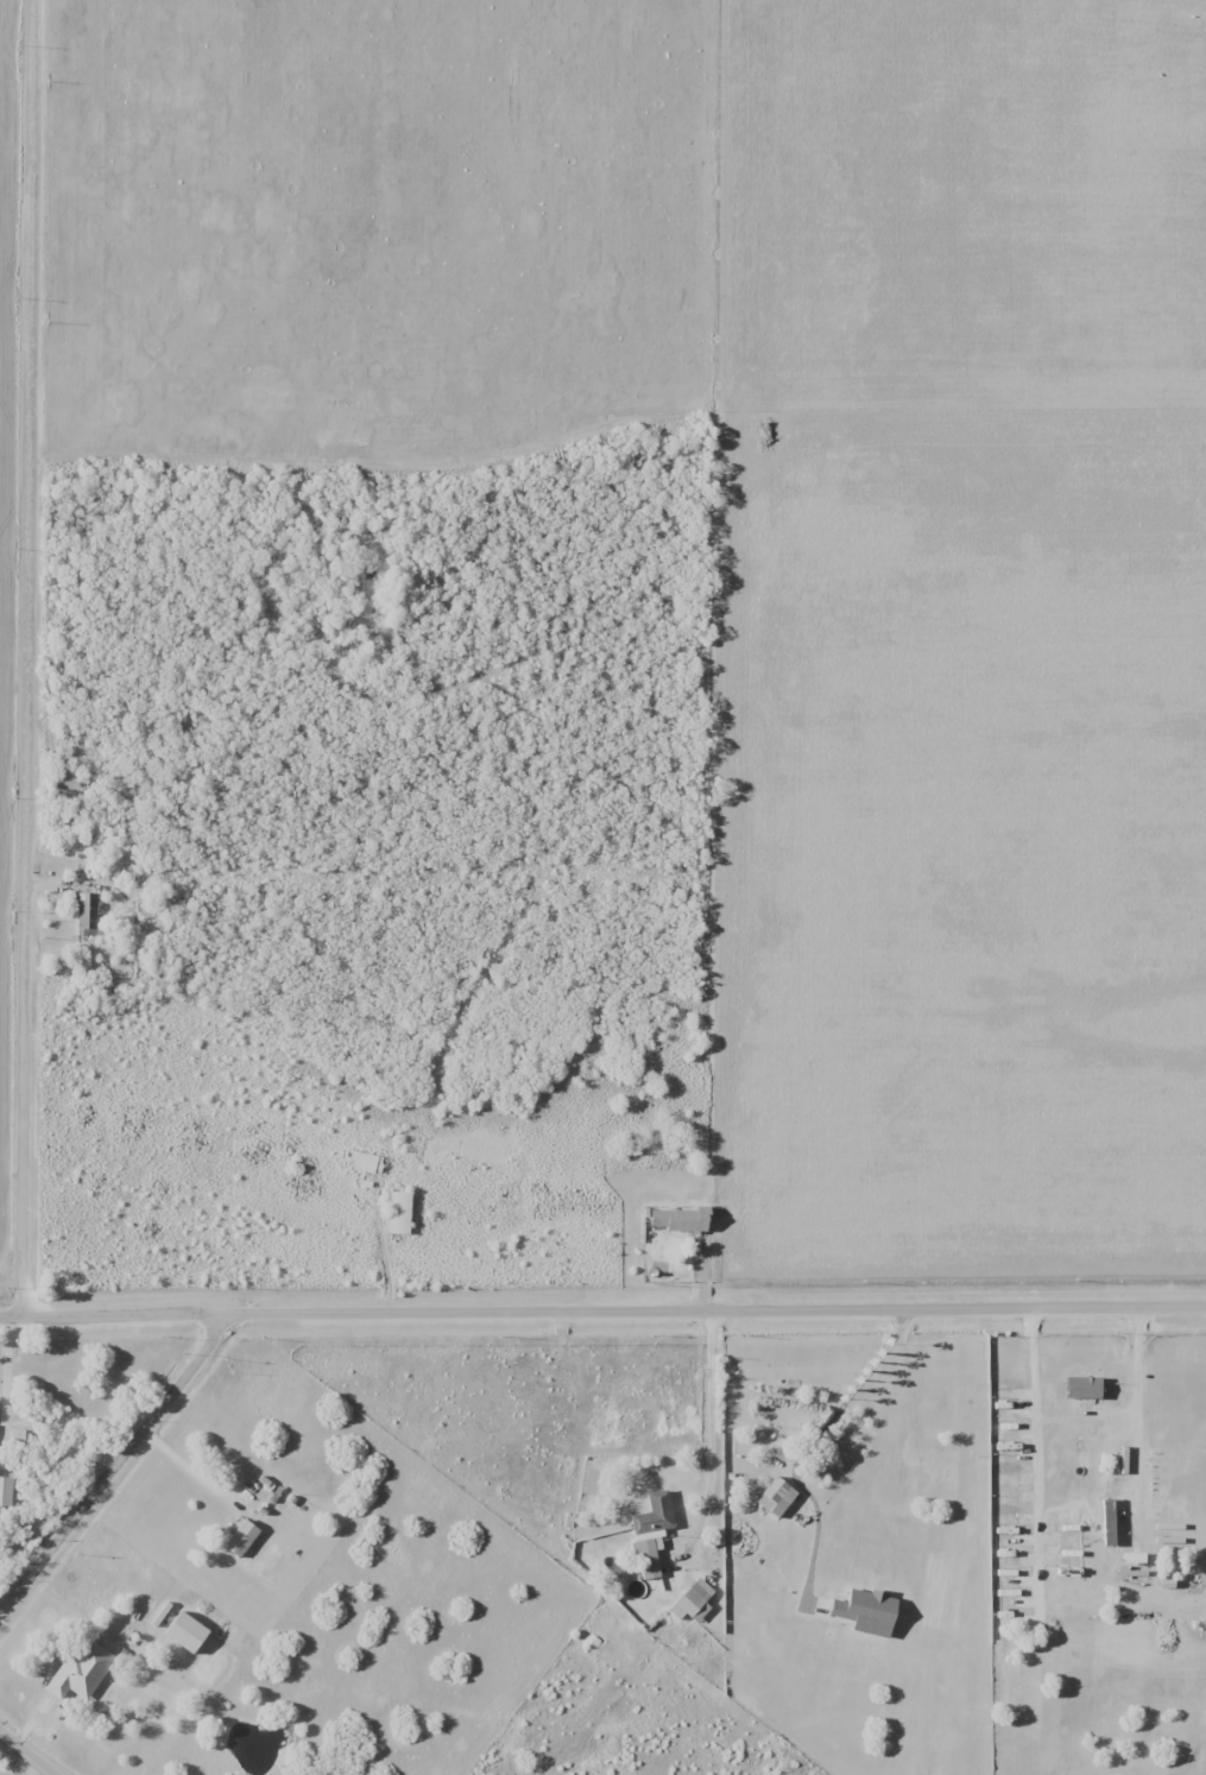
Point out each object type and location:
road: (33, 657)
building: (65, 778)
building: (87, 912)
building: (366, 1162)
building: (400, 1212)
building: (676, 1218)
road: (602, 1310)
road: (6, 1370)
road: (1075, 1408)
road: (705, 1432)
building: (942, 1457)
road: (183, 1464)
road: (114, 1470)
building: (7, 1491)
building: (774, 1497)
building: (1106, 1522)
building: (648, 1536)
building: (242, 1537)
building: (690, 1602)
building: (82, 1669)
road: (27, 1754)

